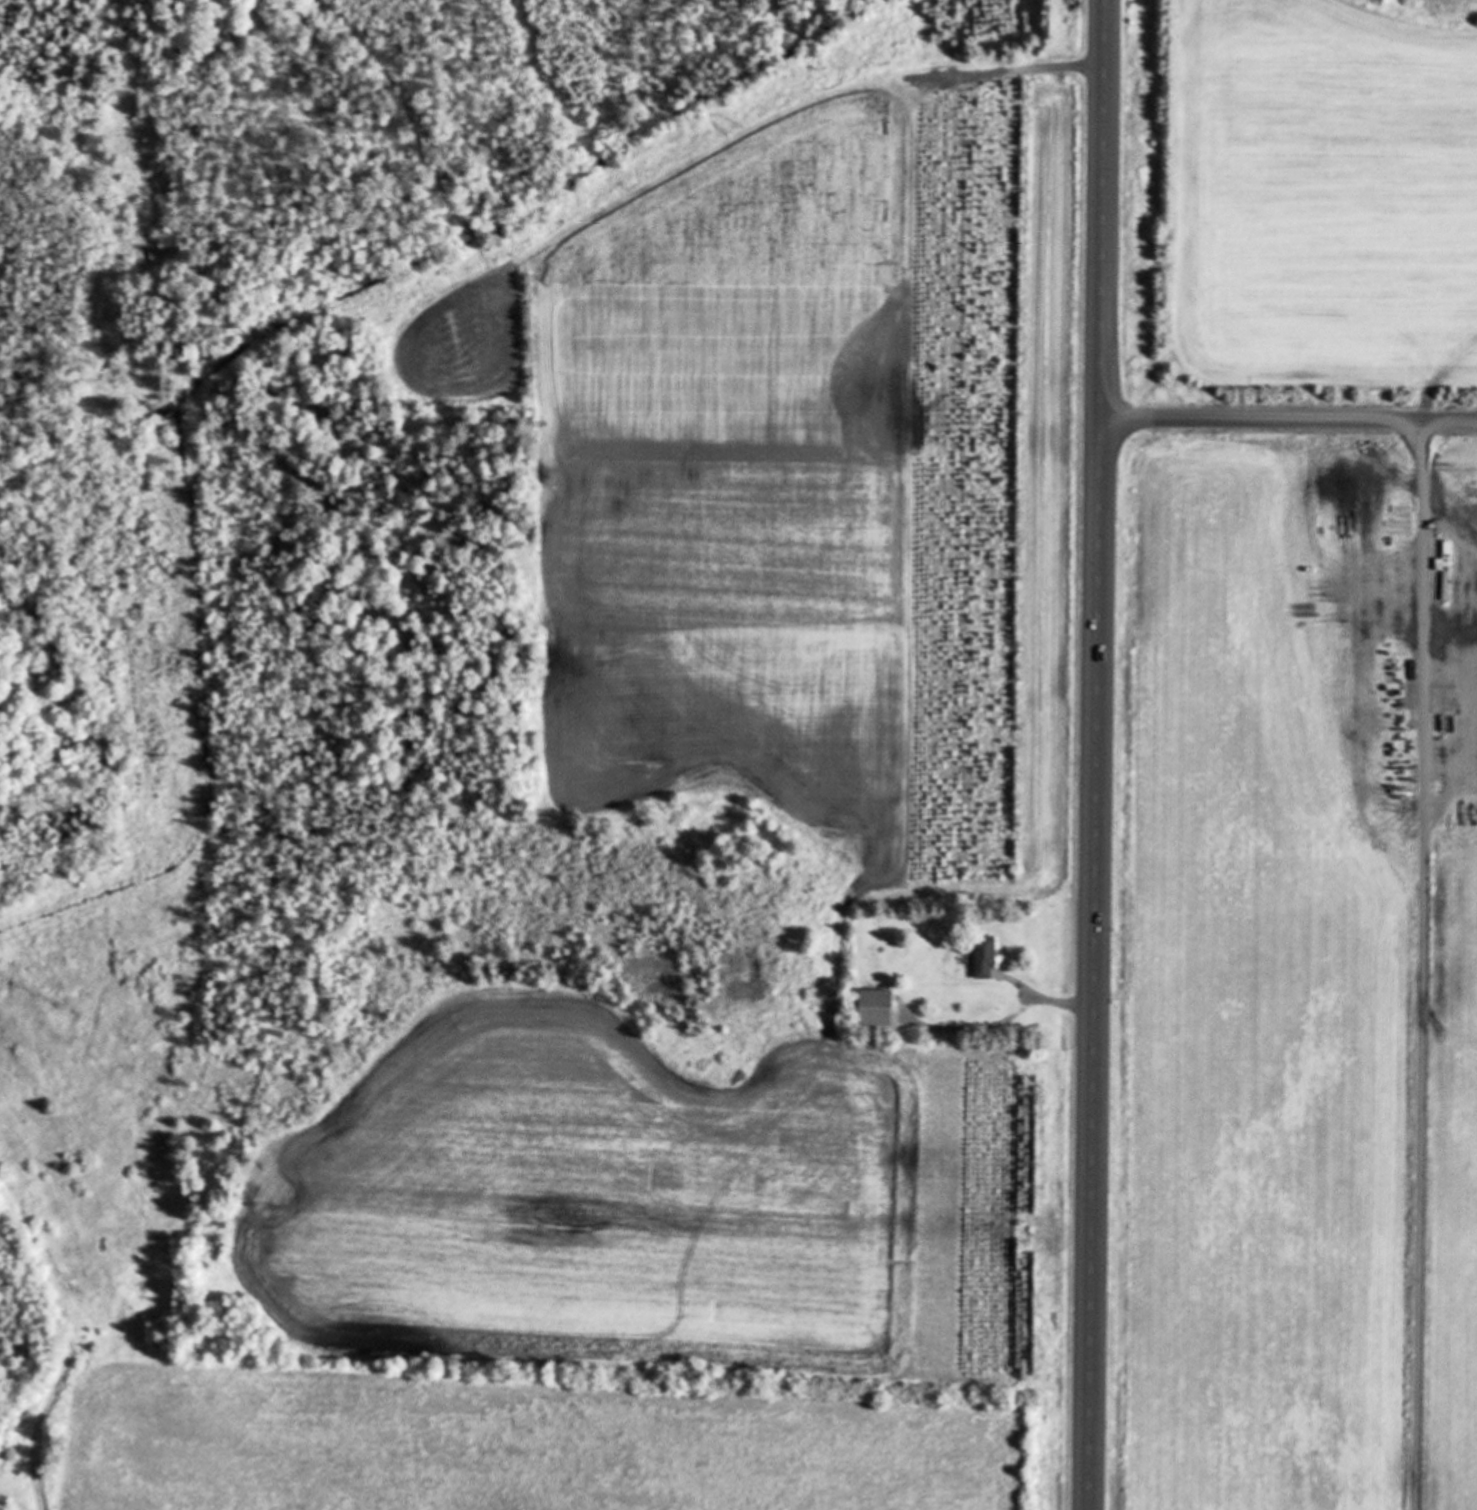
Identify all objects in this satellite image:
road: (1288, 418)
road: (1094, 754)
building: (987, 958)
road: (1419, 965)
road: (1061, 1002)
building: (879, 1009)

